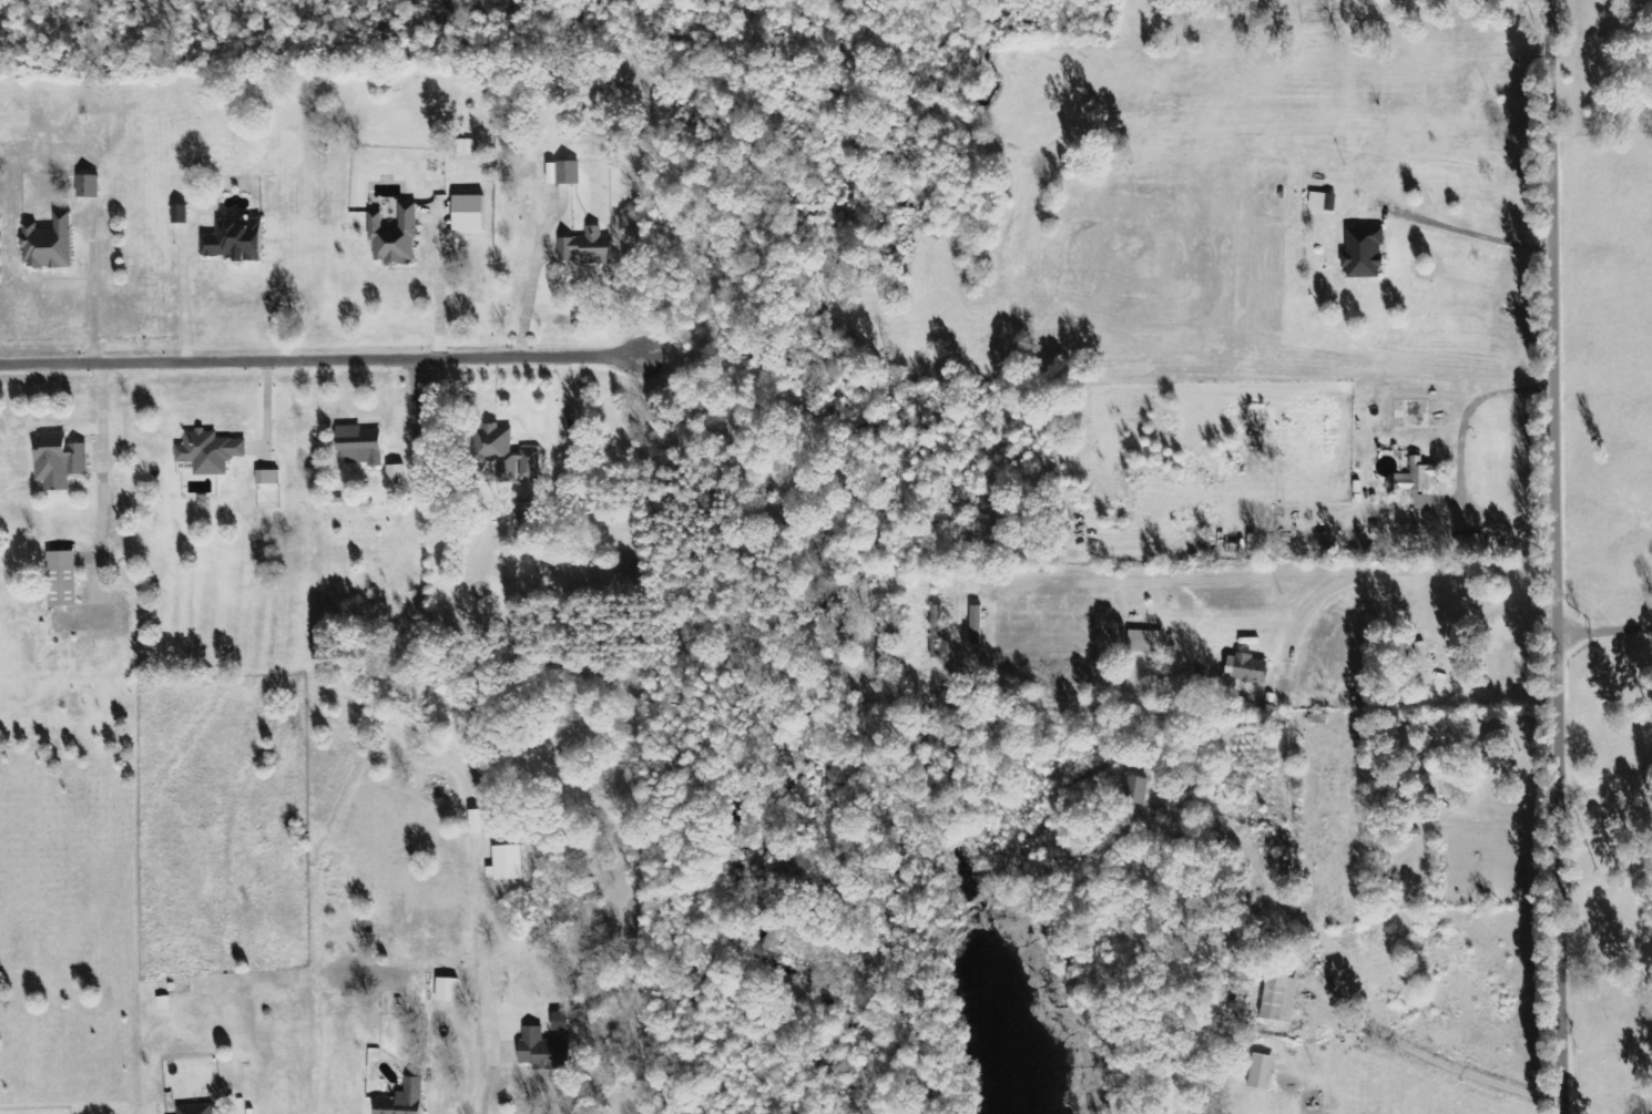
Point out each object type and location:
building: (463, 147)
building: (86, 185)
building: (1322, 202)
building: (179, 213)
building: (394, 236)
building: (234, 241)
building: (48, 244)
building: (585, 249)
building: (1363, 254)
road: (333, 361)
building: (358, 446)
building: (208, 452)
building: (504, 452)
building: (58, 461)
building: (395, 474)
building: (267, 477)
building: (1417, 484)
building: (522, 514)
building: (1469, 542)
road: (1568, 556)
building: (61, 580)
building: (976, 625)
building: (935, 632)
building: (1144, 642)
building: (1245, 668)
building: (1136, 790)
building: (504, 863)
building: (447, 990)
building: (1279, 1001)
building: (162, 1004)
building: (559, 1022)
building: (541, 1051)
building: (1261, 1073)
building: (402, 1100)
building: (195, 1110)

